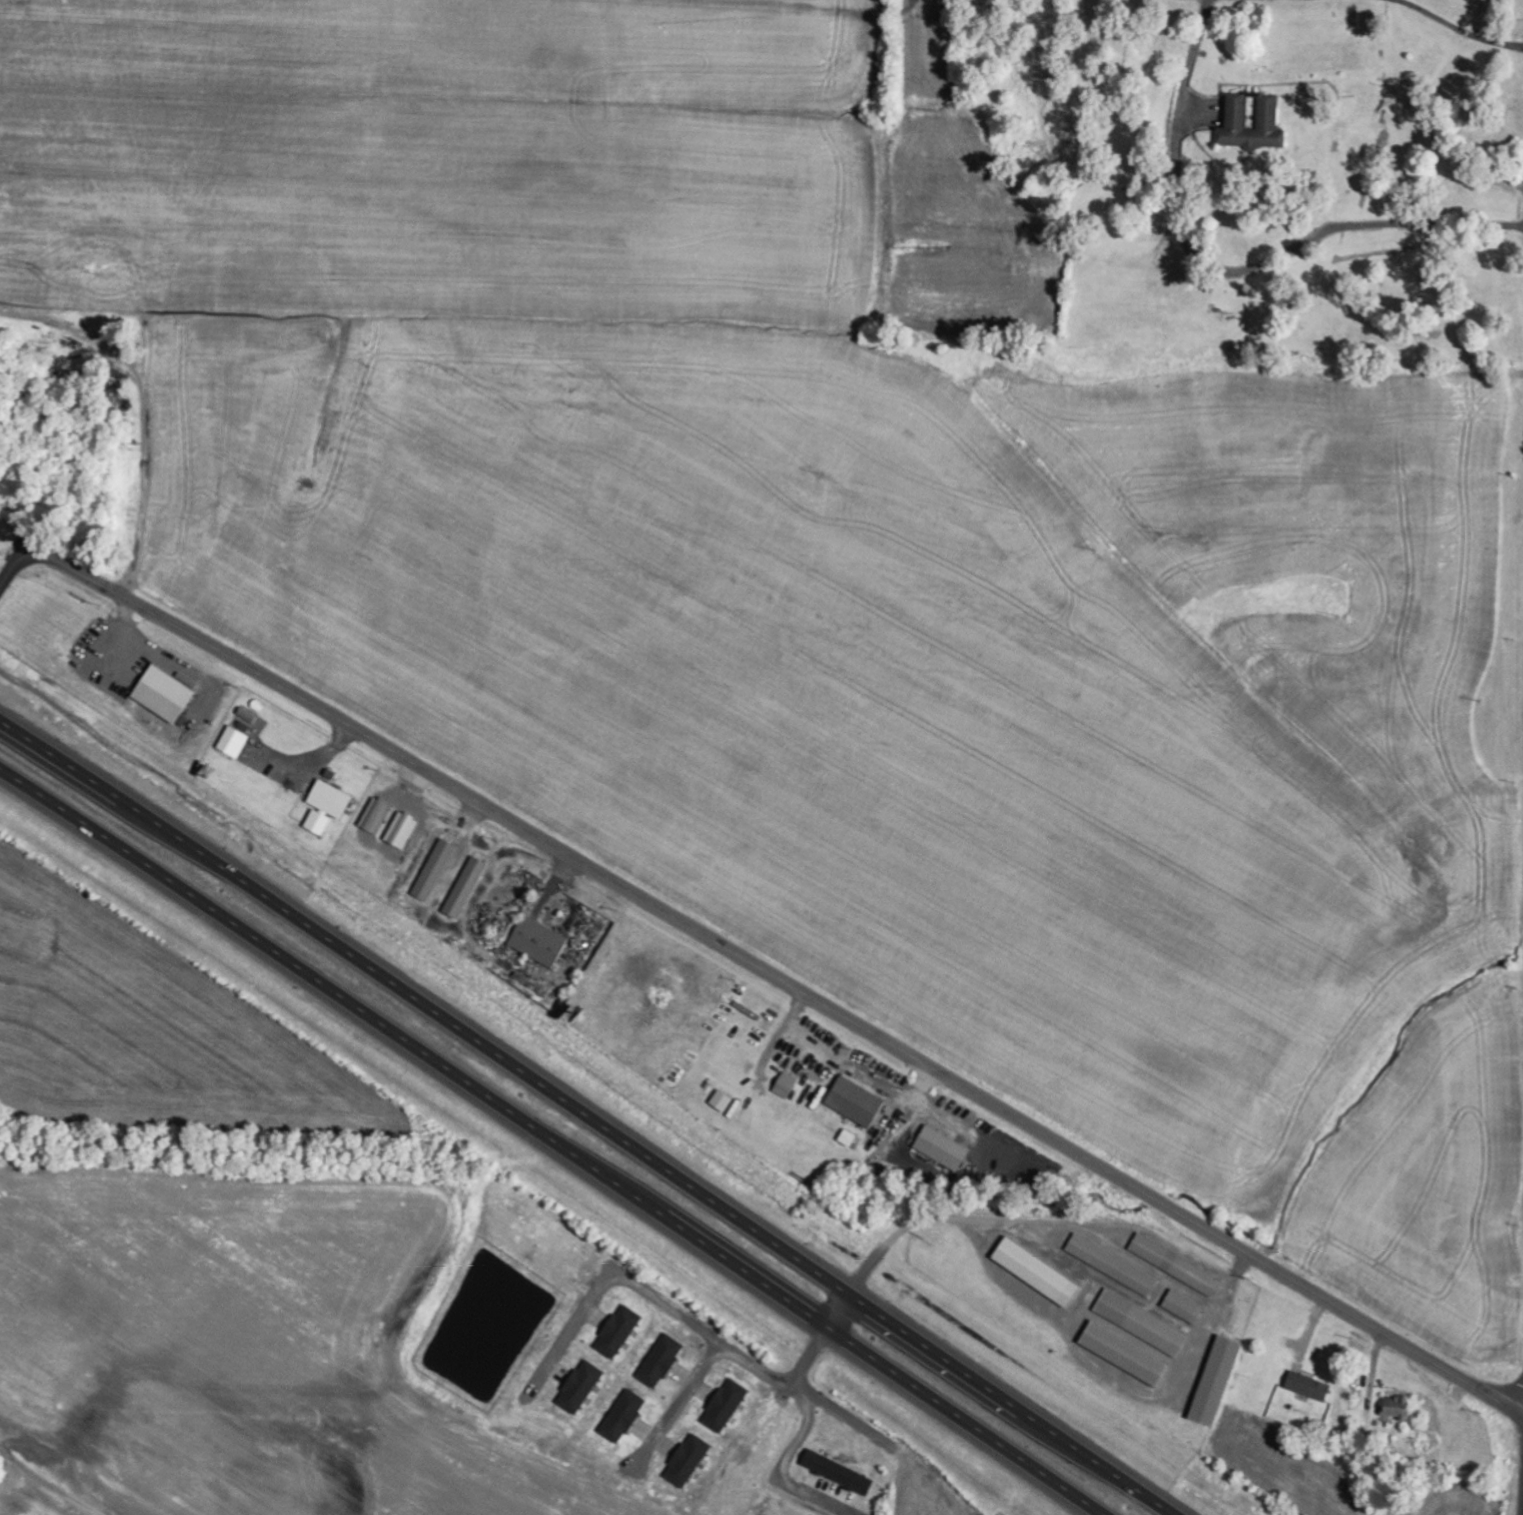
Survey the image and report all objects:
road: (1459, 28)
building: (1253, 123)
road: (1231, 266)
building: (165, 693)
building: (234, 742)
building: (327, 806)
building: (376, 815)
building: (402, 830)
building: (435, 870)
building: (466, 887)
building: (539, 941)
road: (756, 966)
building: (786, 1084)
building: (722, 1101)
building: (856, 1101)
road: (588, 1117)
road: (556, 1139)
building: (943, 1148)
building: (1112, 1265)
building: (1176, 1265)
building: (1037, 1272)
building: (1184, 1307)
road: (835, 1308)
building: (1141, 1323)
building: (619, 1331)
building: (1124, 1353)
building: (662, 1361)
building: (1217, 1380)
building: (1309, 1386)
building: (581, 1387)
building: (726, 1406)
building: (1398, 1407)
building: (624, 1416)
building: (688, 1461)
building: (816, 1461)
road: (49, 1483)

